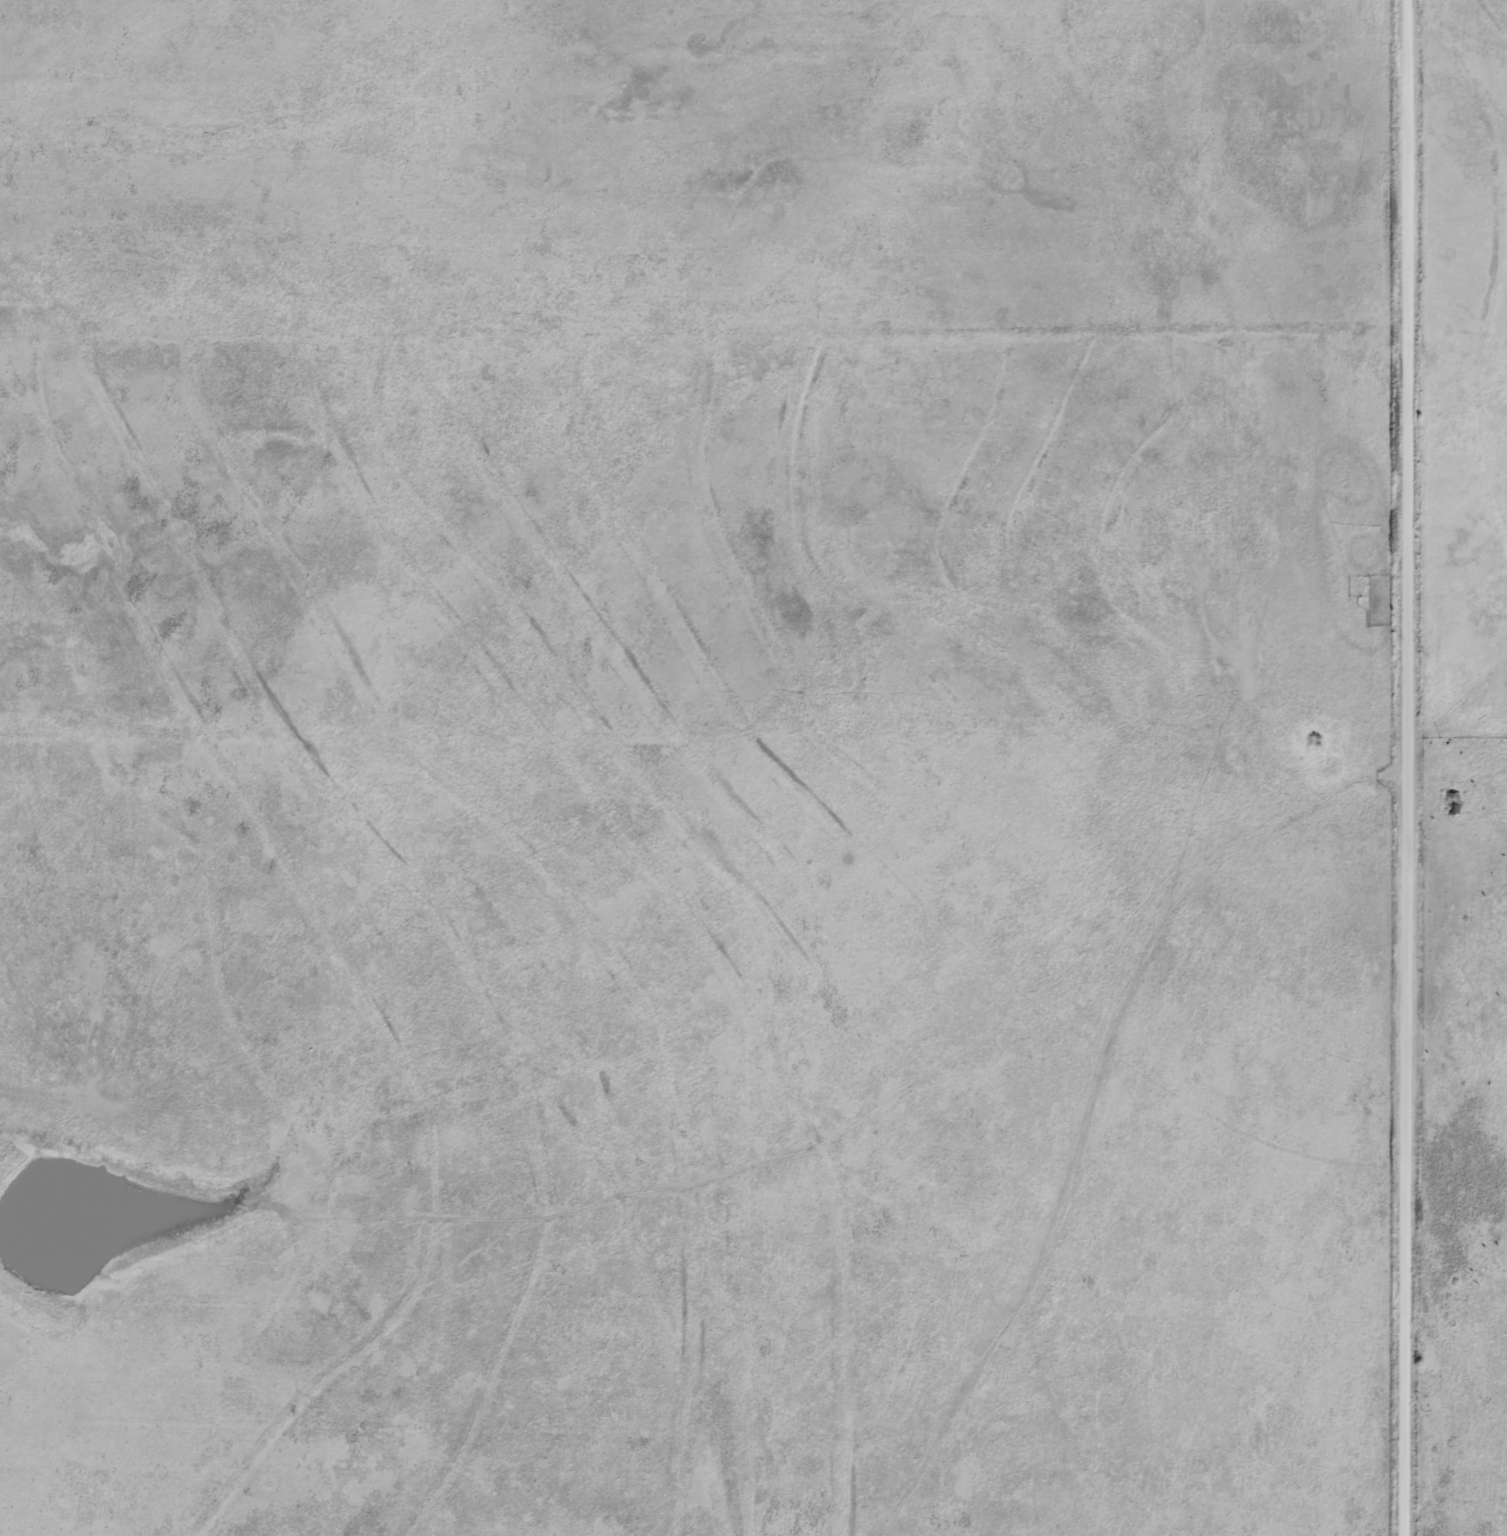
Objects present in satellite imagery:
road: (1410, 768)
building: (1445, 801)

